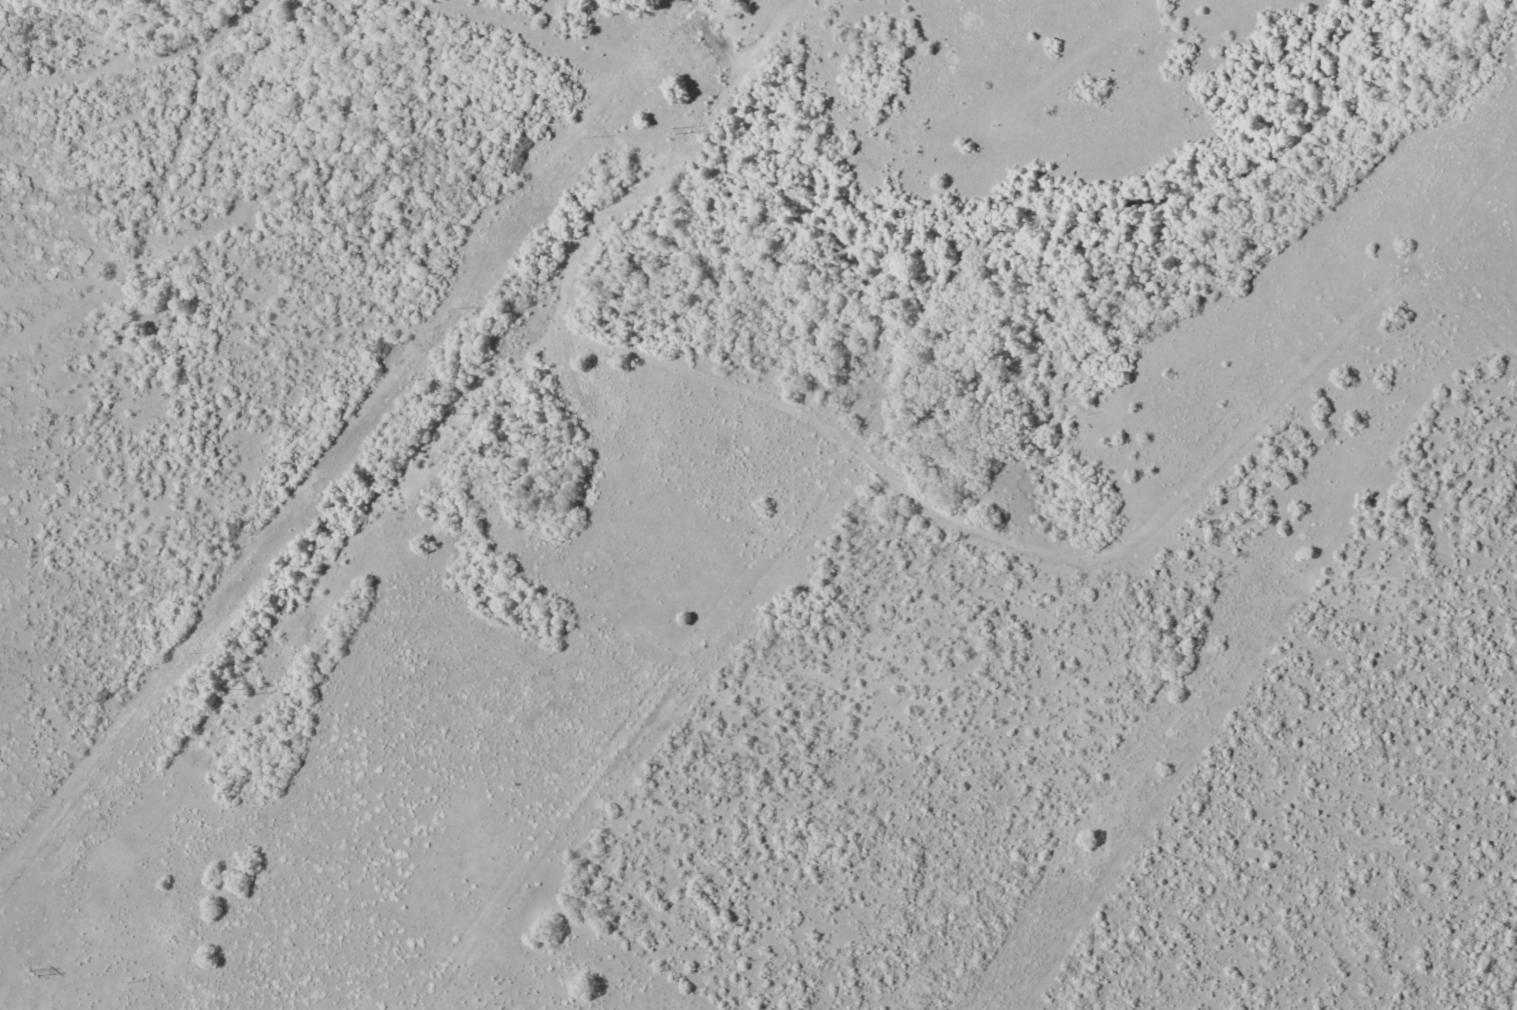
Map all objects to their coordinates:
power tower: (684, 130)
power tower: (468, 411)
power tower: (250, 692)
power tower: (32, 973)

